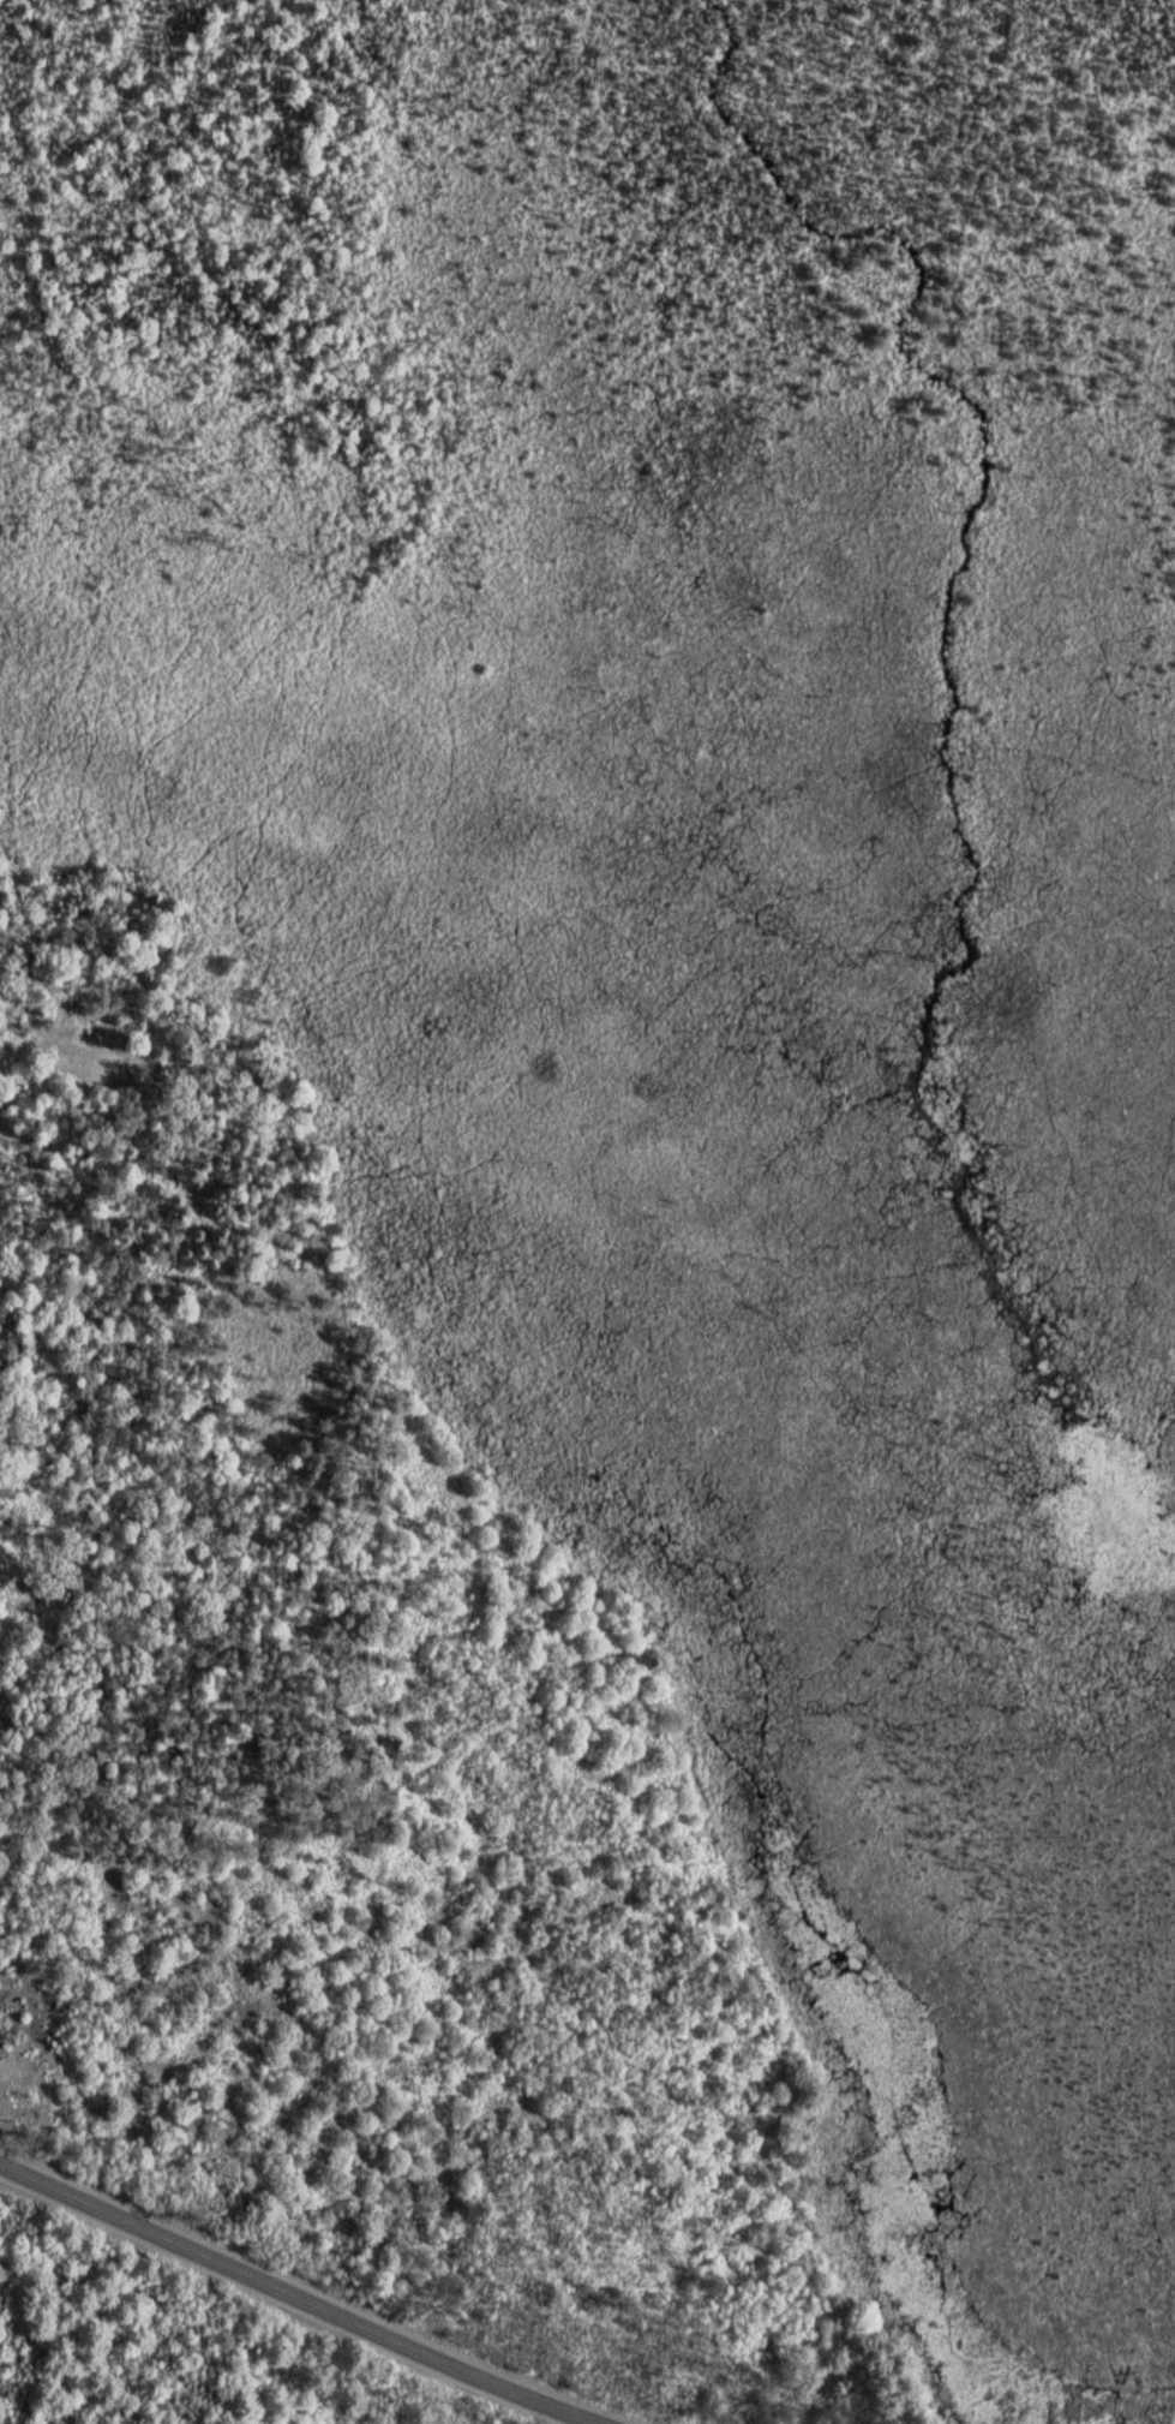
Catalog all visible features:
road: (298, 2298)

